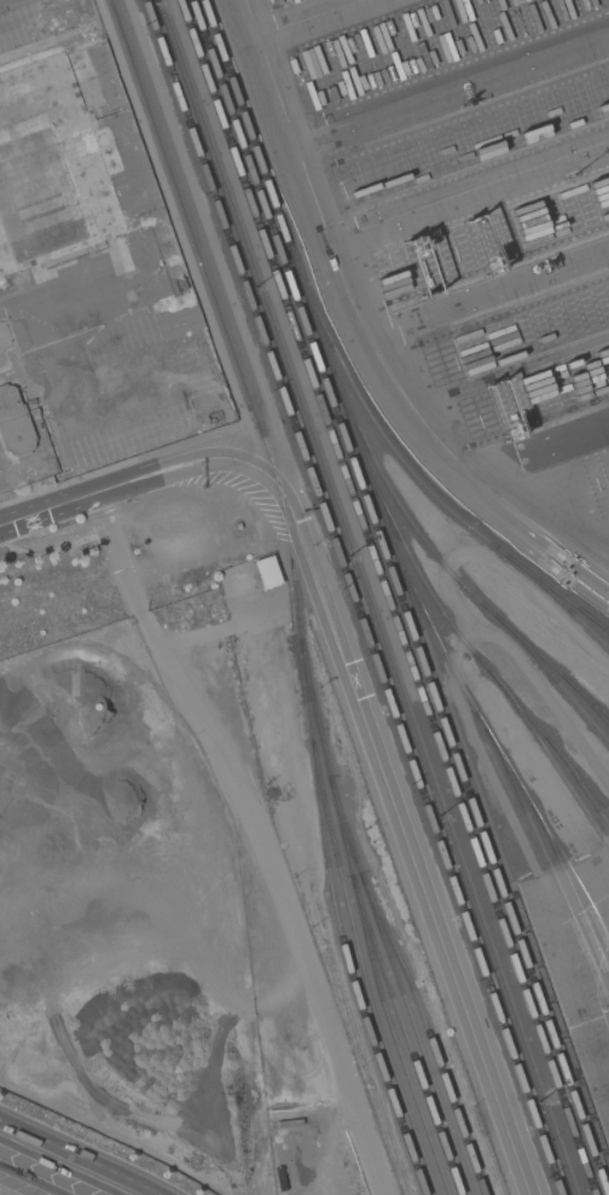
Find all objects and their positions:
road: (324, 21)
building: (79, 30)
railway: (201, 33)
road: (457, 97)
road: (311, 164)
railway: (256, 167)
building: (37, 186)
road: (475, 201)
building: (179, 285)
road: (489, 286)
road: (51, 300)
building: (33, 411)
building: (13, 424)
road: (541, 449)
road: (159, 472)
road: (474, 472)
railway: (417, 480)
railway: (443, 565)
building: (267, 572)
railway: (406, 580)
railway: (295, 591)
railway: (353, 597)
railway: (371, 597)
railway: (388, 597)
railway: (400, 597)
road: (330, 598)
railway: (557, 599)
railway: (592, 620)
railway: (468, 645)
railway: (552, 677)
railway: (585, 697)
railway: (495, 744)
railway: (549, 756)
railway: (579, 781)
road: (255, 839)
railway: (549, 864)
railway: (570, 889)
railway: (361, 920)
railway: (362, 969)
railway: (400, 985)
railway: (428, 1031)
railway: (404, 1036)
road: (79, 1158)
road: (57, 1167)
road: (22, 1184)

